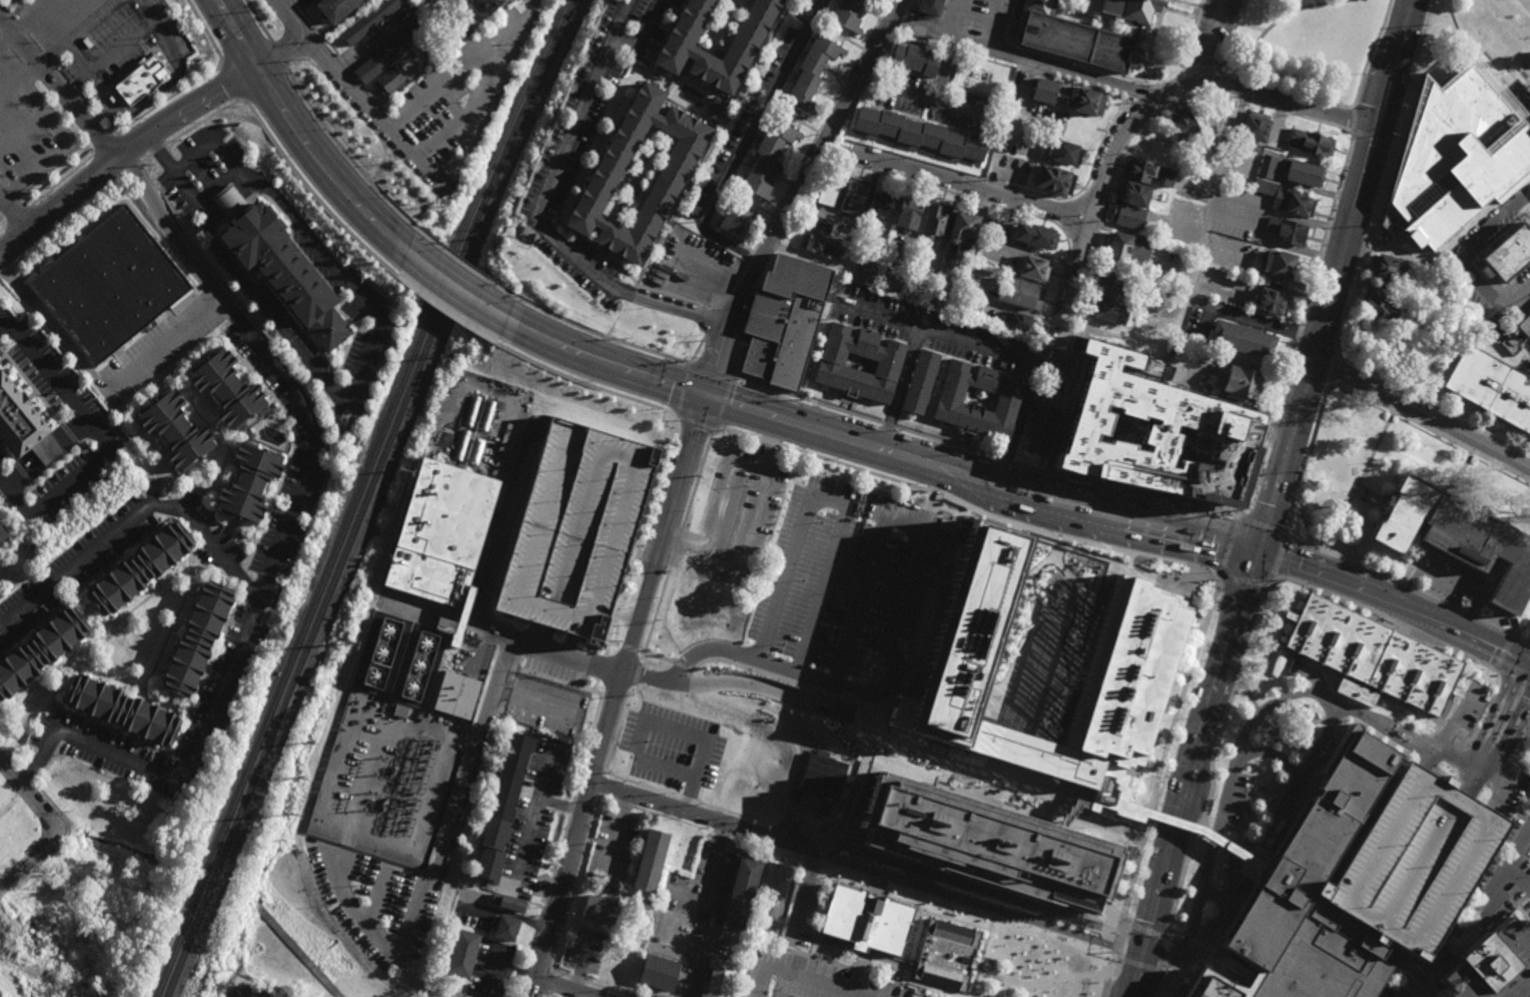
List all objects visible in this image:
building: (461, 0)
building: (432, 1)
road: (1004, 3)
road: (1527, 3)
road: (1186, 4)
building: (487, 6)
road: (1085, 7)
road: (543, 8)
building: (929, 8)
building: (1130, 9)
road: (1207, 9)
building: (334, 10)
road: (1199, 13)
building: (848, 14)
road: (1179, 14)
road: (627, 16)
road: (949, 18)
road: (257, 20)
building: (371, 20)
road: (1204, 20)
road: (1105, 21)
road: (27, 23)
road: (988, 24)
road: (1274, 24)
road: (160, 29)
road: (204, 30)
building: (463, 32)
road: (648, 32)
building: (1075, 39)
road: (1152, 42)
road: (1204, 42)
road: (121, 48)
road: (1507, 48)
road: (1479, 49)
road: (61, 50)
building: (390, 50)
building: (434, 50)
building: (678, 51)
road: (1370, 54)
road: (278, 56)
building: (914, 57)
road: (1053, 58)
road: (1037, 63)
road: (81, 68)
road: (1196, 71)
parking lot: (65, 72)
building: (812, 72)
road: (947, 74)
building: (389, 77)
road: (452, 77)
building: (139, 81)
road: (234, 82)
road: (1168, 82)
road: (59, 83)
parking lot: (466, 88)
road: (1281, 90)
building: (1043, 91)
road: (1138, 93)
road: (1146, 94)
road: (363, 97)
road: (170, 100)
building: (111, 101)
building: (1086, 101)
road: (1244, 101)
road: (143, 103)
road: (933, 106)
building: (714, 109)
road: (473, 110)
road: (1142, 112)
road: (45, 113)
road: (1302, 118)
road: (1351, 119)
road: (204, 121)
building: (1216, 121)
building: (1185, 126)
road: (821, 127)
traffic signals: (1377, 128)
road: (1004, 131)
building: (1257, 132)
road: (23, 133)
road: (147, 135)
road: (301, 135)
parking lot: (378, 135)
building: (918, 136)
road: (1371, 139)
building: (1312, 142)
road: (740, 144)
road: (102, 145)
road: (156, 151)
building: (1064, 152)
road: (853, 154)
road: (344, 156)
building: (767, 158)
building: (1461, 159)
road: (144, 160)
road: (1405, 160)
road: (914, 161)
building: (1266, 166)
road: (133, 169)
road: (37, 172)
building: (1148, 173)
building: (1304, 173)
building: (668, 176)
road: (1383, 176)
road: (1363, 177)
building: (1053, 180)
road: (1088, 180)
road: (60, 181)
road: (994, 182)
road: (1111, 184)
road: (216, 185)
road: (972, 185)
building: (826, 193)
road: (796, 194)
building: (1133, 194)
building: (854, 195)
road: (315, 196)
building: (1287, 199)
road: (1529, 204)
building: (881, 207)
road: (1004, 208)
road: (1489, 211)
road: (14, 213)
building: (908, 213)
road: (1070, 213)
road: (1283, 213)
road: (19, 214)
road: (4, 215)
building: (0, 216)
building: (1127, 216)
building: (737, 217)
building: (0, 219)
building: (935, 219)
road: (70, 220)
road: (4, 224)
road: (1528, 224)
road: (541, 226)
road: (1208, 229)
building: (1285, 230)
road: (1528, 230)
building: (962, 232)
power tower: (504, 236)
building: (1034, 236)
road: (1273, 242)
building: (820, 245)
building: (1126, 250)
building: (1506, 254)
road: (1463, 257)
road: (749, 258)
road: (463, 264)
building: (1282, 266)
building: (1383, 267)
building: (281, 268)
building: (1031, 268)
building: (865, 271)
road: (6, 272)
road: (735, 286)
building: (109, 287)
road: (453, 288)
building: (1110, 288)
building: (1020, 293)
building: (1271, 302)
building: (1377, 305)
building: (1107, 311)
road: (445, 313)
road: (1494, 316)
road: (712, 320)
building: (783, 321)
road: (1253, 321)
building: (1017, 322)
road: (5, 325)
road: (1300, 327)
road: (1384, 327)
road: (53, 328)
road: (1123, 330)
building: (1516, 334)
road: (599, 335)
road: (951, 338)
building: (1244, 343)
road: (162, 346)
road: (696, 348)
building: (1521, 354)
power tower: (452, 358)
road: (1450, 360)
road: (1241, 363)
road: (1418, 363)
building: (860, 366)
road: (1329, 366)
road: (710, 369)
road: (358, 374)
road: (584, 383)
building: (1245, 384)
building: (922, 385)
road: (935, 386)
building: (1490, 387)
road: (681, 388)
road: (900, 388)
building: (226, 390)
traffic signals: (707, 395)
road: (807, 399)
road: (725, 402)
building: (980, 402)
road: (846, 403)
road: (1431, 405)
road: (1409, 407)
road: (1421, 412)
road: (697, 421)
building: (1148, 423)
road: (1016, 424)
building: (24, 425)
road: (890, 425)
building: (1042, 429)
building: (172, 431)
road: (1428, 431)
road: (738, 434)
building: (249, 436)
road: (1380, 436)
road: (107, 441)
road: (968, 441)
road: (766, 443)
road: (768, 443)
road: (948, 443)
road: (877, 447)
road: (1287, 451)
road: (1304, 457)
road: (1005, 462)
road: (1365, 466)
road: (875, 476)
building: (247, 484)
road: (1361, 493)
road: (1125, 494)
railway: (358, 496)
railway: (367, 496)
railway: (378, 496)
road: (829, 498)
road: (762, 505)
road: (646, 512)
road: (993, 513)
road: (1340, 515)
parking lot: (742, 517)
road: (131, 520)
road: (1261, 526)
road: (880, 530)
building: (578, 532)
parking lot: (578, 532)
building: (2, 536)
building: (437, 538)
road: (680, 538)
building: (1457, 539)
road: (1346, 540)
road: (276, 545)
traffic signals: (1262, 546)
road: (1228, 548)
road: (1113, 551)
road: (1346, 555)
road: (1277, 561)
building: (142, 570)
road: (1152, 580)
road: (1243, 581)
road: (89, 584)
road: (1409, 588)
road: (483, 590)
road: (1397, 596)
road: (1438, 600)
road: (1468, 614)
road: (90, 615)
road: (615, 617)
road: (626, 617)
road: (1381, 620)
road: (1502, 629)
road: (1521, 630)
road: (539, 634)
road: (608, 639)
road: (568, 642)
road: (612, 642)
building: (197, 644)
power tower: (349, 644)
road: (630, 647)
road: (1503, 651)
building: (380, 653)
building: (1372, 654)
building: (40, 655)
road: (1265, 660)
building: (979, 664)
road: (776, 666)
road: (600, 669)
road: (1511, 677)
road: (557, 681)
road: (1358, 683)
road: (1529, 683)
road: (1529, 685)
road: (594, 687)
building: (1123, 689)
building: (1356, 690)
road: (1246, 693)
road: (616, 695)
building: (457, 697)
road: (613, 699)
building: (547, 704)
road: (1491, 709)
building: (119, 710)
road: (623, 711)
road: (1257, 713)
road: (1502, 714)
road: (1455, 719)
road: (1330, 723)
road: (665, 725)
road: (1340, 728)
road: (1506, 730)
road: (1278, 733)
road: (1304, 737)
road: (1415, 740)
road: (1512, 740)
power tower: (313, 747)
road: (1520, 749)
road: (485, 752)
road: (1272, 753)
road: (1400, 754)
road: (12, 755)
road: (1210, 762)
road: (1305, 768)
road: (1141, 769)
road: (1191, 769)
road: (592, 770)
building: (823, 775)
road: (29, 776)
road: (1491, 776)
power substation: (387, 778)
road: (1319, 779)
road: (1229, 781)
road: (600, 784)
road: (1155, 785)
road: (1461, 789)
road: (540, 791)
road: (29, 794)
road: (587, 794)
road: (852, 798)
road: (1477, 799)
road: (1524, 800)
road: (859, 802)
building: (501, 805)
road: (571, 807)
road: (713, 807)
road: (1492, 808)
road: (57, 811)
power tower: (290, 811)
road: (1072, 812)
road: (700, 815)
road: (1505, 816)
road: (1512, 817)
road: (450, 820)
road: (700, 827)
road: (1270, 830)
road: (1211, 838)
road: (1288, 838)
road: (831, 843)
road: (525, 844)
building: (989, 845)
building: (650, 859)
building: (1409, 859)
parking lot: (1409, 859)
road: (29, 860)
road: (812, 861)
road: (823, 861)
road: (1267, 861)
road: (1511, 861)
building: (64, 871)
road: (710, 879)
building: (773, 879)
road: (574, 884)
building: (42, 889)
road: (1497, 889)
building: (736, 890)
road: (983, 890)
road: (346, 892)
road: (1489, 892)
road: (1215, 895)
road: (962, 901)
building: (1316, 902)
building: (510, 903)
road: (1457, 905)
building: (598, 908)
road: (506, 913)
road: (1518, 915)
road: (371, 919)
building: (864, 919)
road: (538, 925)
building: (504, 927)
road: (1144, 931)
building: (5, 934)
building: (50, 935)
road: (535, 935)
road: (546, 943)
building: (31, 947)
road: (810, 948)
traffic signals: (1144, 952)
road: (1166, 952)
building: (461, 953)
road: (783, 954)
road: (494, 955)
building: (945, 955)
road: (862, 956)
road: (1166, 956)
road: (798, 957)
road: (1438, 957)
road: (581, 961)
building: (1488, 961)
road: (498, 965)
road: (1139, 965)
road: (842, 967)
road: (1234, 967)
building: (65, 971)
building: (658, 972)
road: (764, 976)
building: (714, 977)
parking lot: (805, 978)
road: (919, 983)
road: (549, 984)
road: (591, 984)
road: (1047, 985)
road: (1160, 985)
road: (567, 987)
road: (1386, 993)
road: (1527, 994)
road: (1526, 995)
road: (547, 996)
road: (549, 996)

